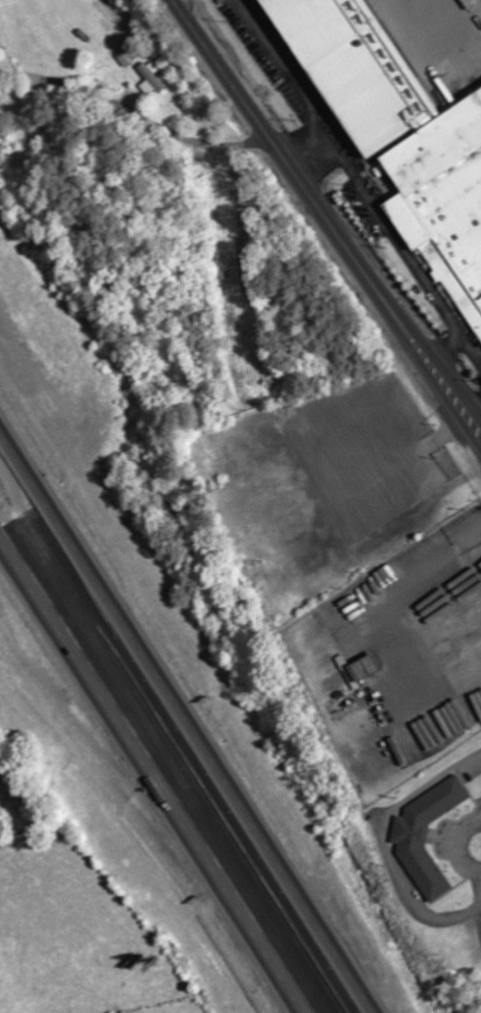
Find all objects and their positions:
building: (151, 79)
building: (400, 134)
road: (326, 218)
road: (183, 728)
road: (157, 769)
building: (427, 835)

